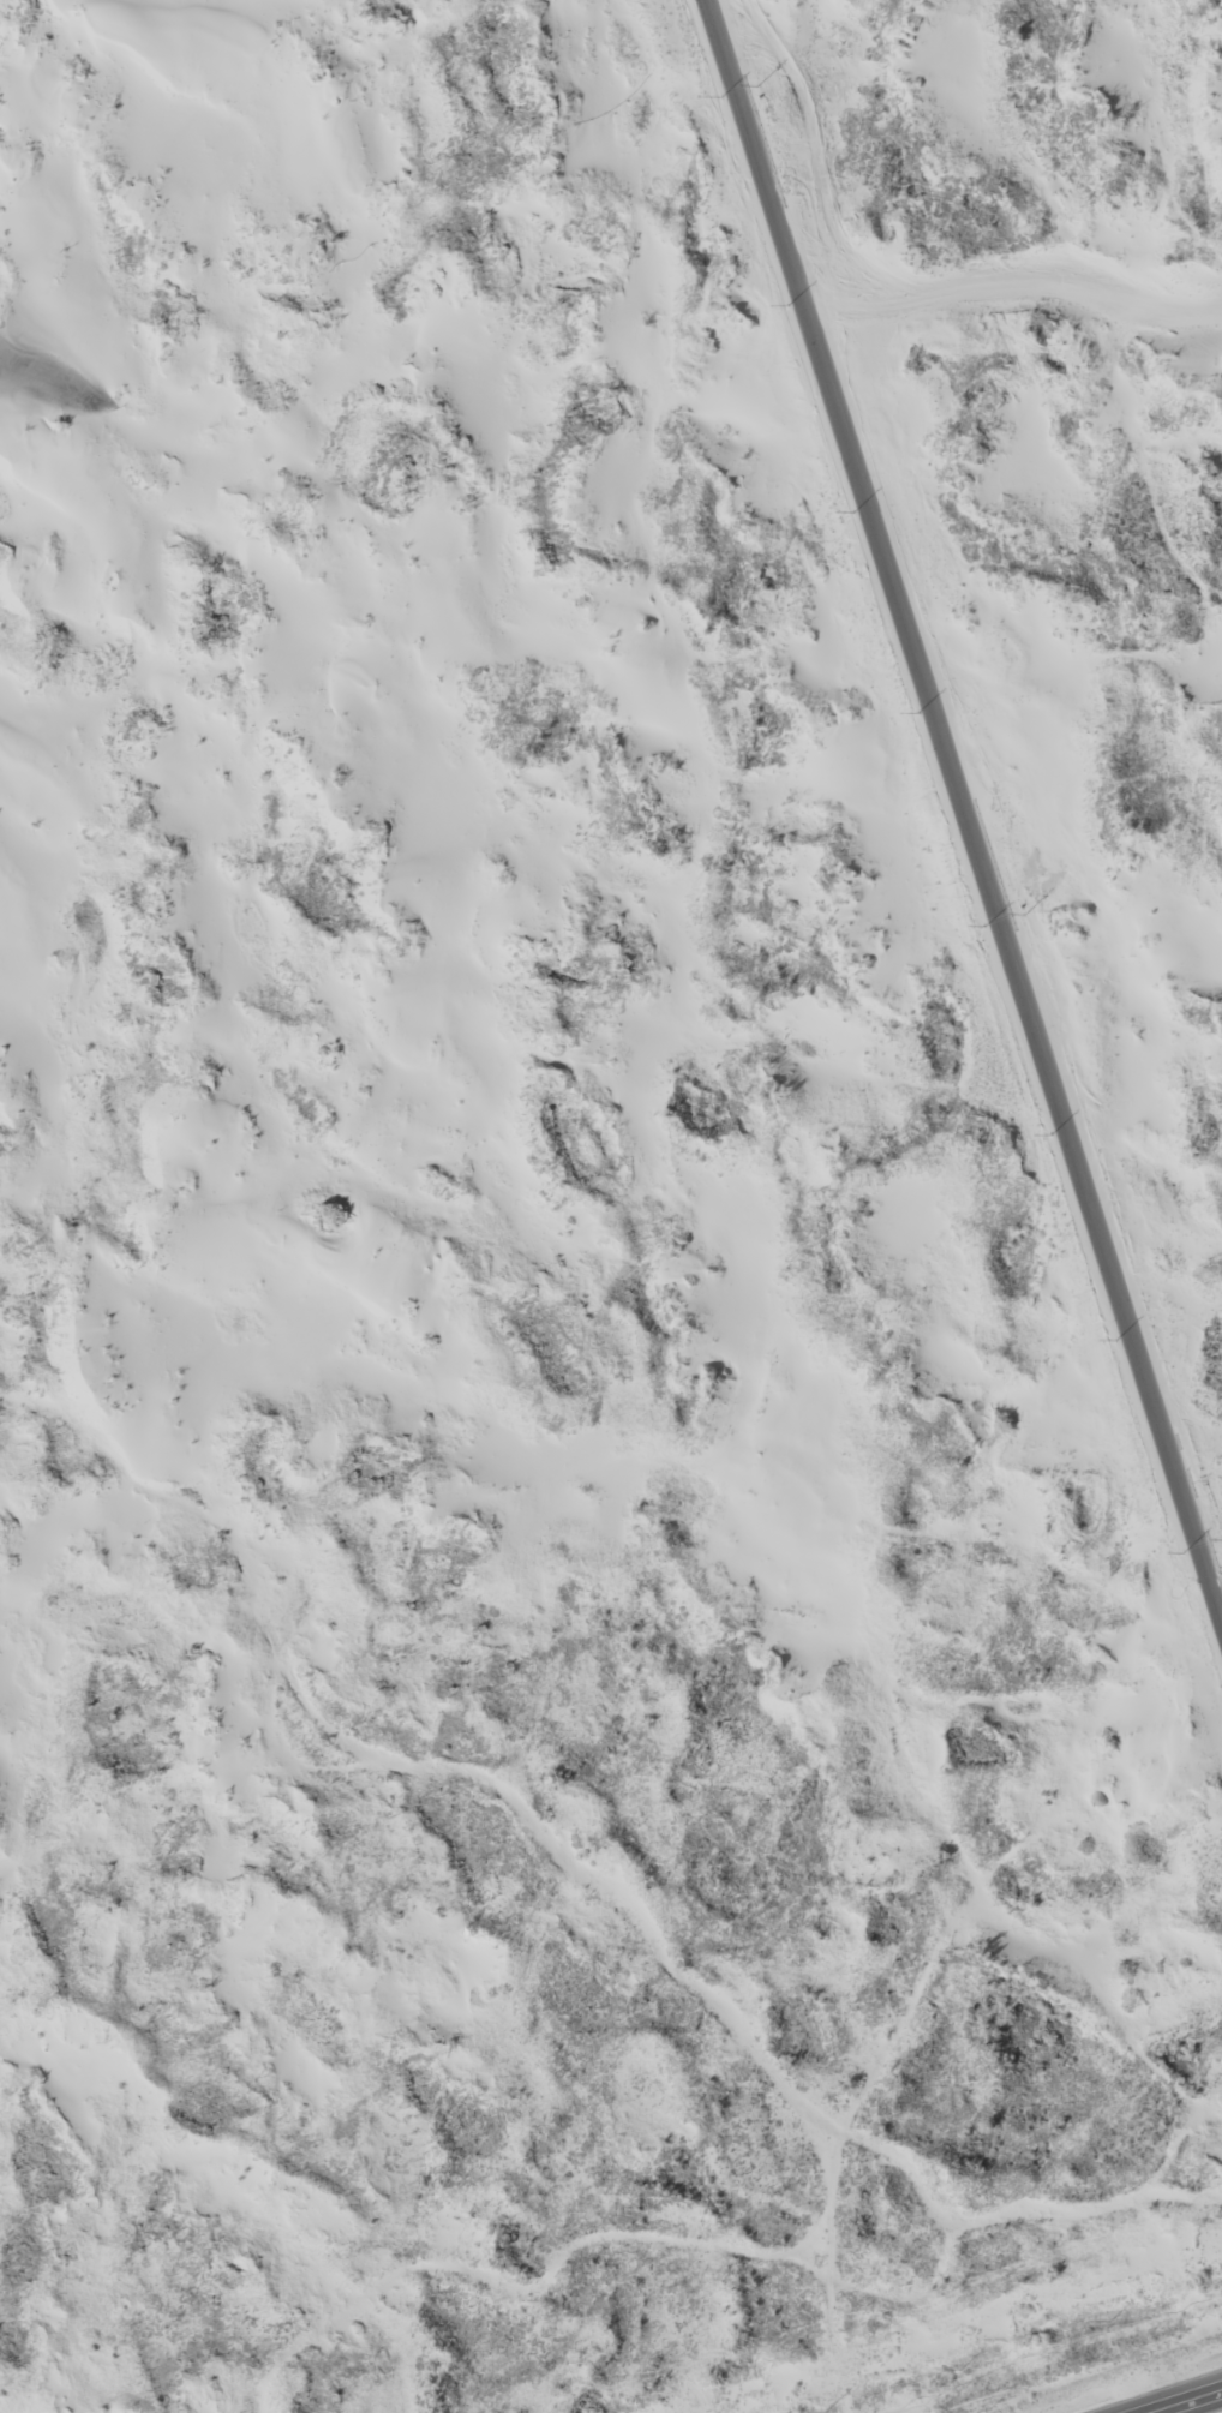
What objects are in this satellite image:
road: (1184, 2400)

